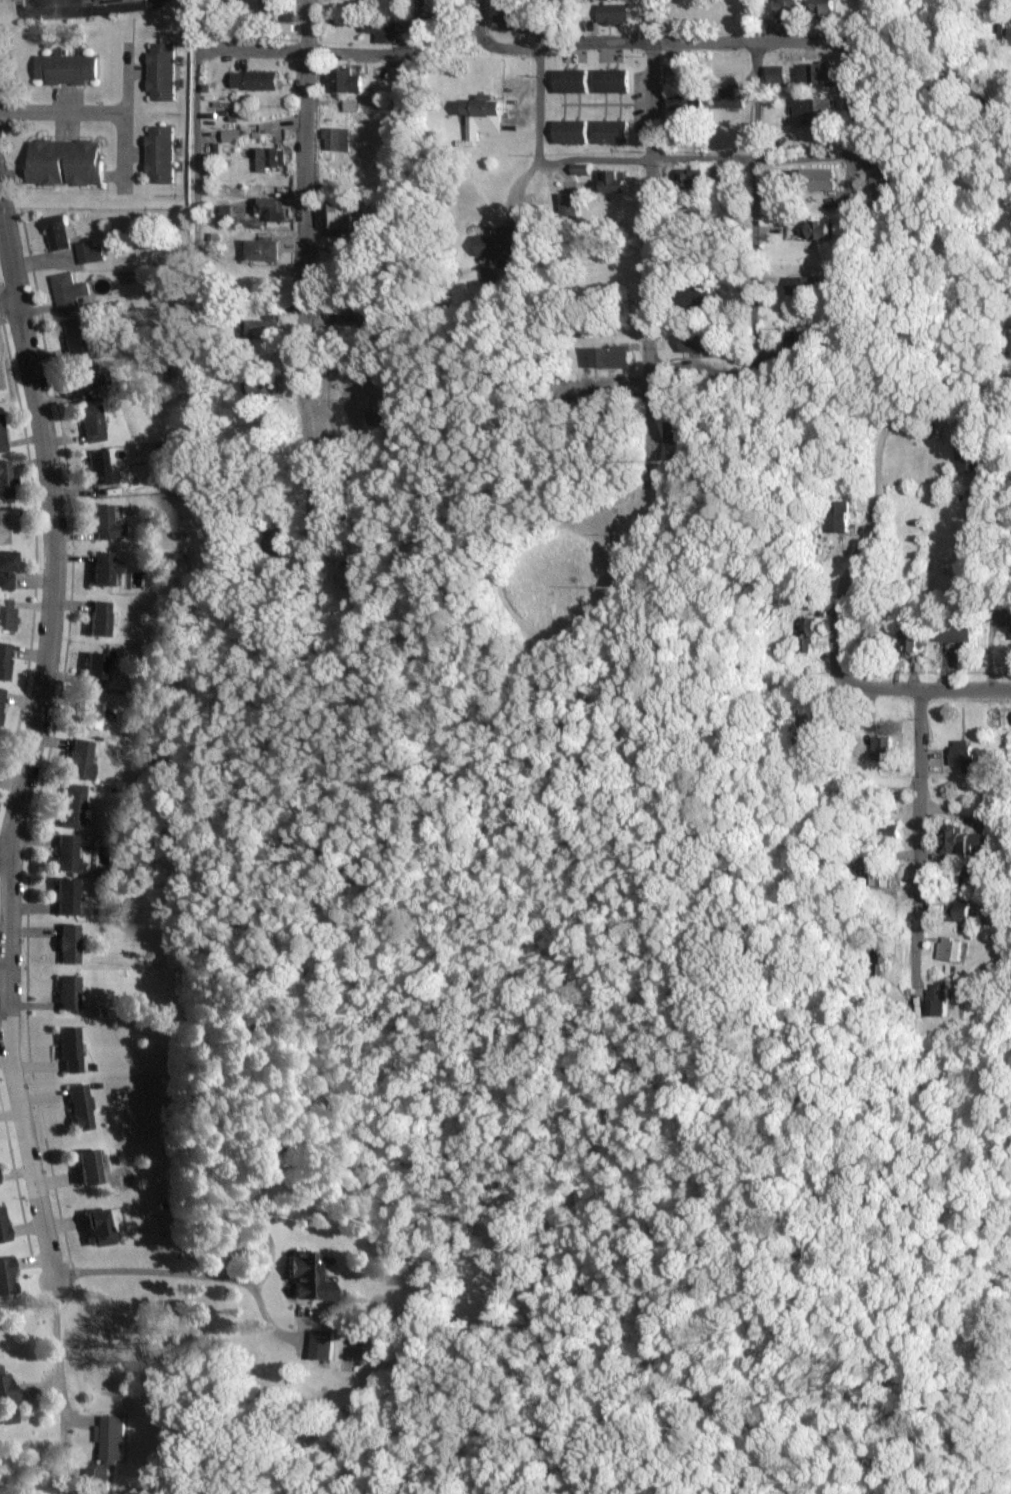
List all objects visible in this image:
building: (623, 0)
building: (825, 8)
building: (788, 10)
building: (613, 14)
building: (507, 21)
road: (483, 23)
road: (542, 23)
building: (381, 32)
road: (666, 44)
road: (376, 52)
road: (248, 53)
building: (64, 70)
building: (160, 72)
building: (816, 74)
building: (777, 75)
road: (126, 79)
building: (254, 81)
building: (570, 81)
building: (611, 81)
building: (342, 82)
road: (198, 97)
building: (730, 97)
road: (756, 100)
building: (686, 104)
building: (349, 107)
building: (814, 108)
road: (98, 112)
building: (483, 119)
building: (570, 132)
building: (611, 132)
building: (336, 140)
road: (854, 151)
building: (159, 156)
road: (639, 158)
building: (269, 159)
building: (64, 163)
road: (249, 167)
building: (692, 181)
building: (819, 181)
road: (649, 182)
building: (611, 183)
road: (516, 186)
building: (883, 190)
building: (568, 206)
building: (270, 209)
building: (225, 213)
building: (339, 217)
building: (819, 231)
building: (56, 232)
road: (300, 236)
building: (494, 246)
building: (263, 250)
building: (89, 252)
building: (802, 285)
building: (69, 292)
building: (697, 297)
road: (9, 302)
road: (754, 319)
building: (262, 328)
building: (75, 334)
building: (800, 336)
building: (696, 342)
building: (1010, 346)
building: (611, 358)
building: (87, 375)
building: (257, 386)
building: (383, 414)
building: (92, 423)
building: (673, 431)
building: (1, 441)
building: (968, 459)
building: (100, 469)
building: (4, 480)
building: (839, 516)
building: (105, 523)
building: (7, 527)
building: (275, 542)
road: (862, 548)
building: (6, 569)
building: (105, 569)
building: (340, 576)
building: (6, 615)
building: (100, 619)
building: (953, 633)
building: (909, 639)
building: (4, 660)
building: (95, 670)
road: (935, 685)
building: (0, 696)
building: (89, 714)
building: (805, 729)
road: (30, 741)
building: (882, 748)
building: (963, 754)
building: (81, 760)
building: (73, 806)
road: (915, 817)
road: (8, 840)
building: (967, 842)
building: (66, 853)
building: (965, 876)
building: (66, 897)
building: (958, 911)
building: (68, 944)
building: (950, 949)
building: (880, 956)
building: (70, 994)
building: (940, 1000)
building: (70, 1049)
building: (79, 1107)
building: (89, 1167)
building: (2, 1227)
building: (98, 1228)
road: (264, 1231)
road: (200, 1274)
building: (6, 1277)
building: (307, 1278)
building: (320, 1345)
road: (59, 1350)
building: (7, 1390)
building: (8, 1418)
building: (110, 1437)
building: (95, 1480)

